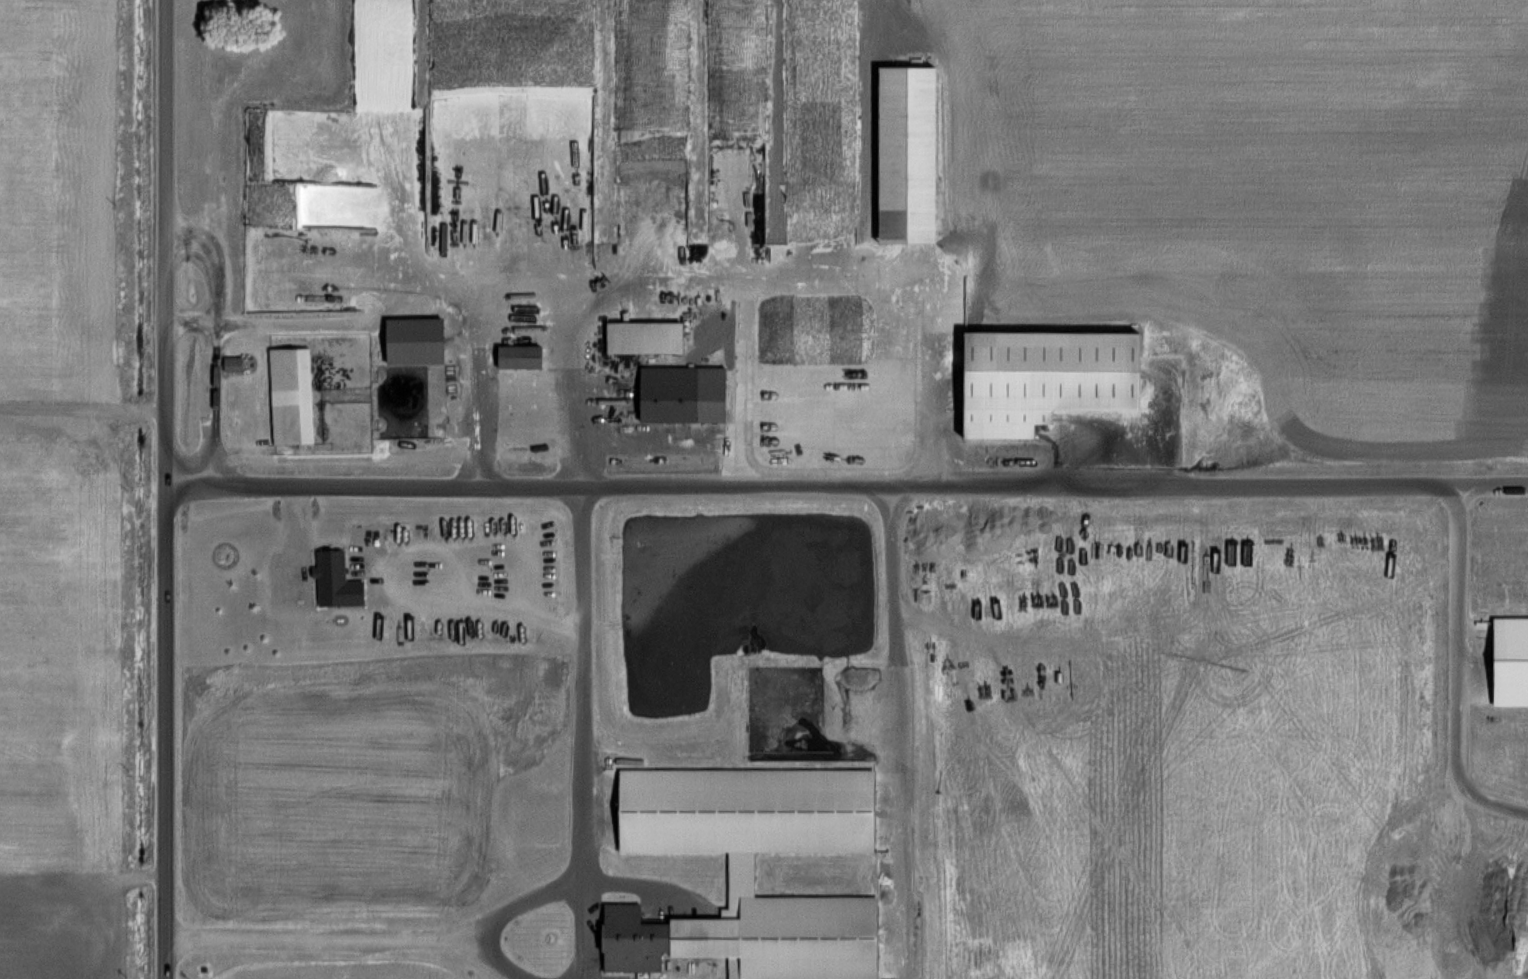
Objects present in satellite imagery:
building: (479, 194)
building: (459, 283)
building: (414, 332)
building: (642, 336)
building: (666, 393)
building: (289, 395)
road: (167, 489)
building: (746, 869)

